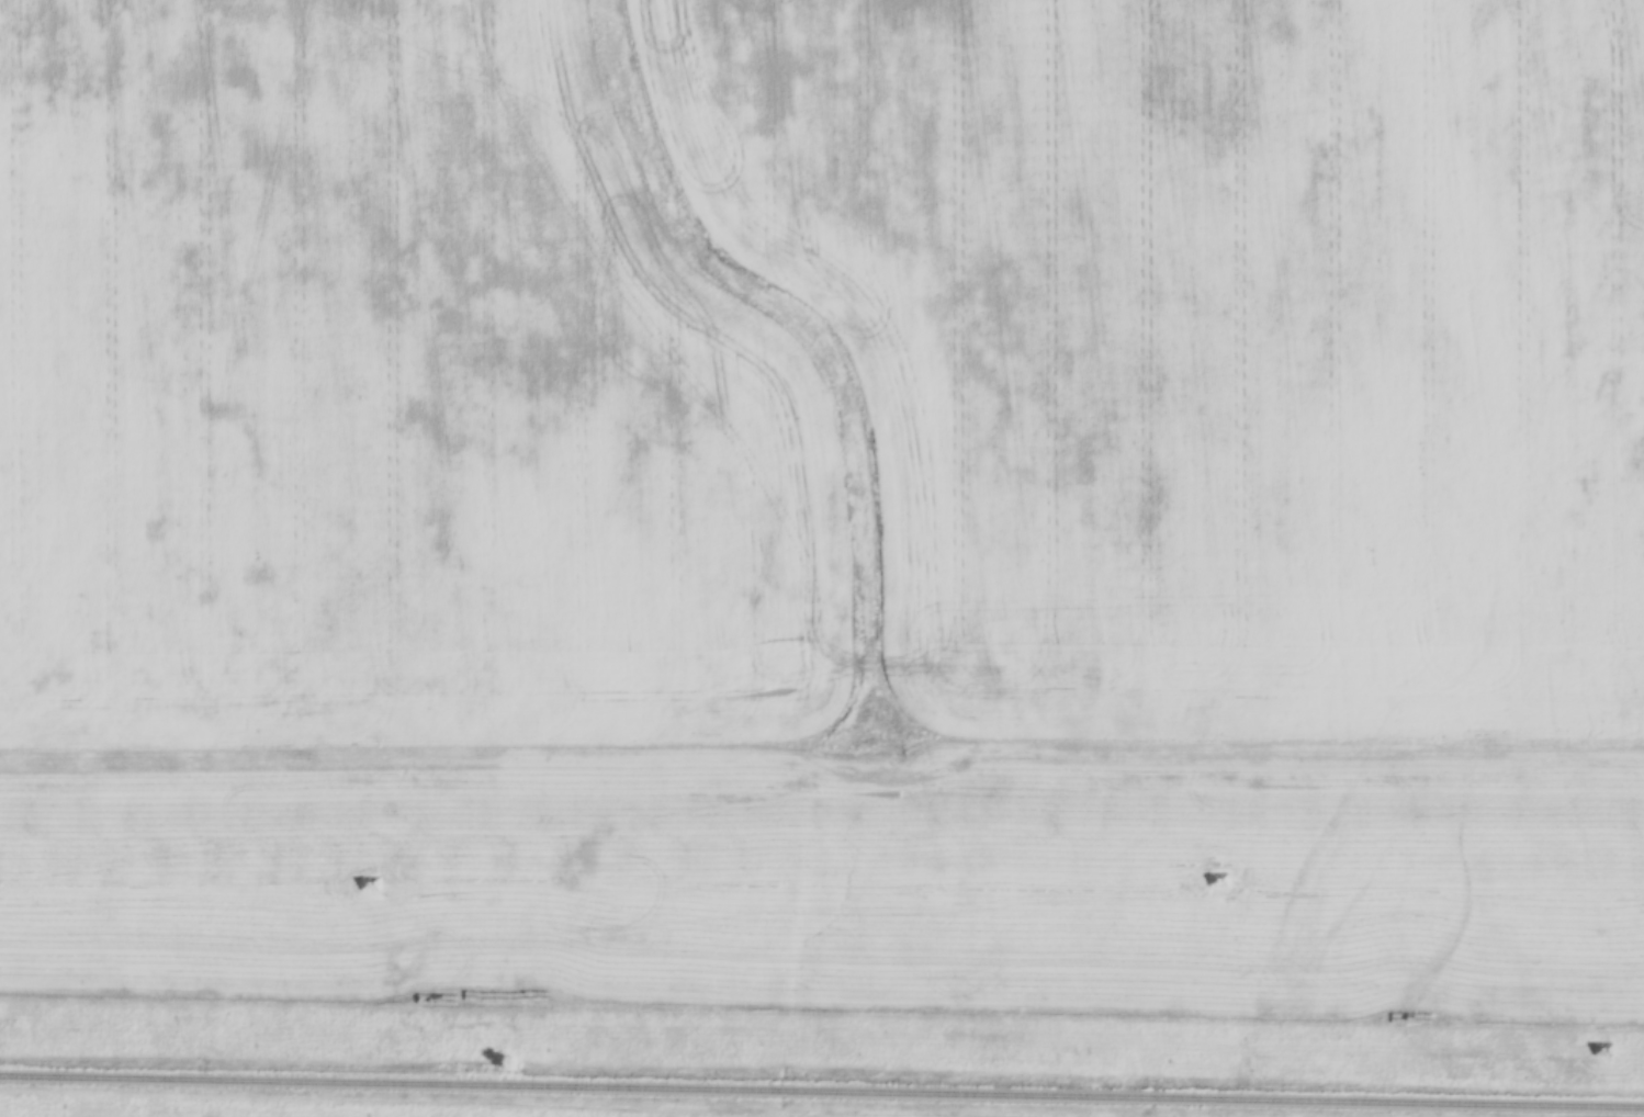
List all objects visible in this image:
railway: (822, 1093)

